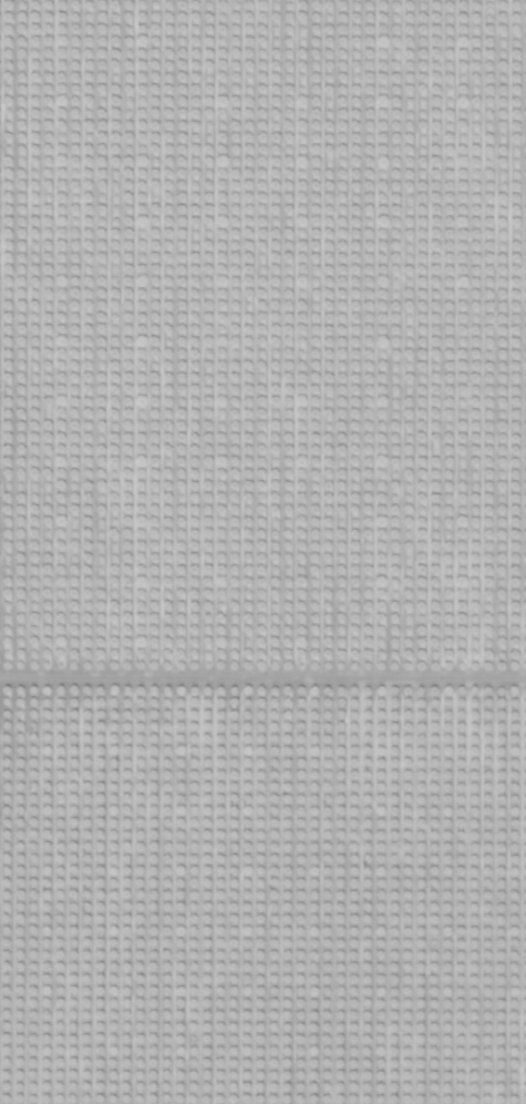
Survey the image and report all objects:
road: (37, 551)
road: (262, 676)

